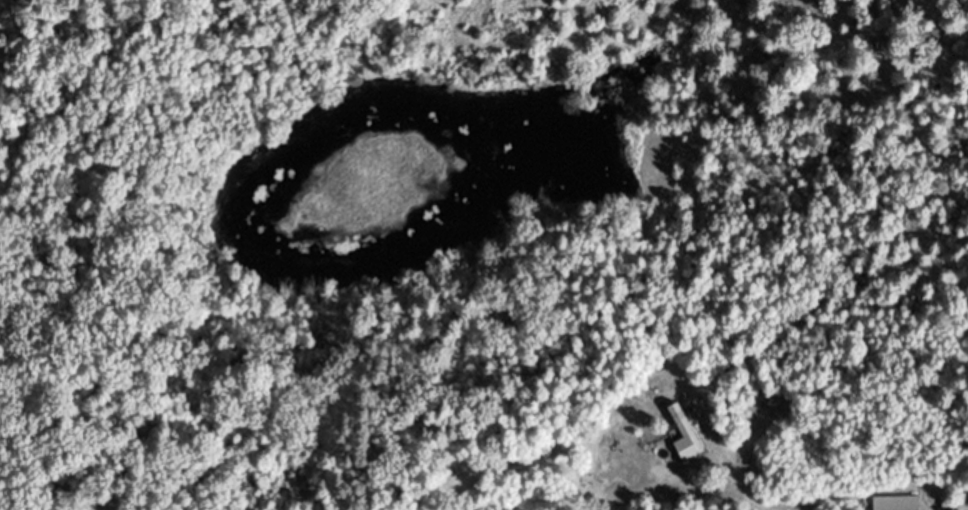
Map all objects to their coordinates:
building: (929, 74)
building: (684, 445)
road: (731, 469)

